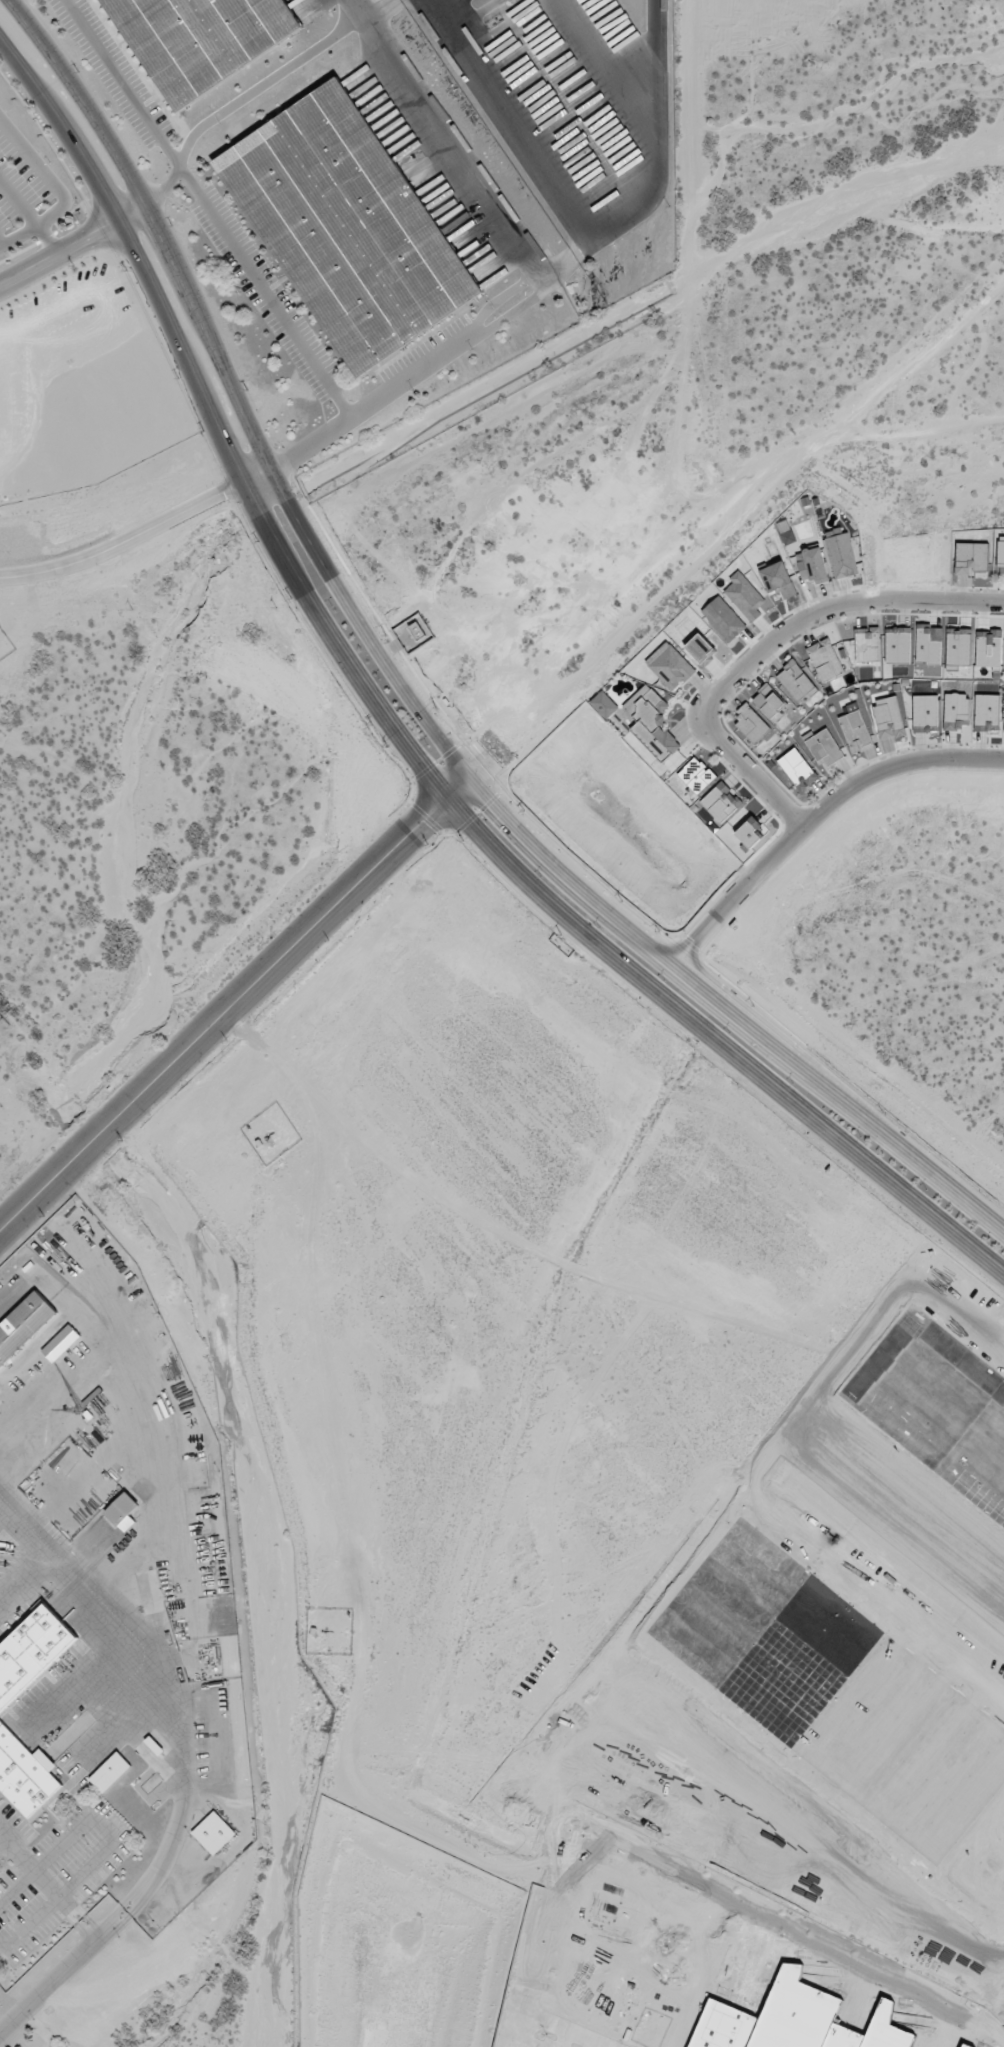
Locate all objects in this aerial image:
building: (507, 0)
building: (498, 1)
building: (203, 39)
road: (239, 101)
road: (441, 142)
road: (654, 167)
road: (58, 190)
road: (209, 208)
building: (351, 229)
road: (48, 240)
road: (72, 246)
road: (403, 380)
road: (257, 481)
building: (1000, 553)
building: (841, 555)
building: (970, 557)
building: (812, 565)
building: (778, 579)
road: (321, 592)
building: (744, 596)
building: (723, 618)
building: (866, 644)
road: (770, 645)
building: (700, 648)
building: (825, 659)
building: (669, 666)
building: (795, 681)
road: (405, 694)
building: (769, 702)
building: (604, 704)
building: (956, 710)
building: (986, 712)
building: (925, 713)
building: (887, 716)
building: (651, 722)
building: (751, 723)
building: (854, 729)
road: (398, 740)
building: (823, 747)
building: (797, 768)
building: (696, 775)
building: (721, 802)
road: (815, 815)
building: (749, 832)
road: (235, 1004)
building: (24, 1325)
building: (123, 1511)
building: (31, 1652)
building: (110, 1772)
building: (24, 1774)
building: (213, 1833)

